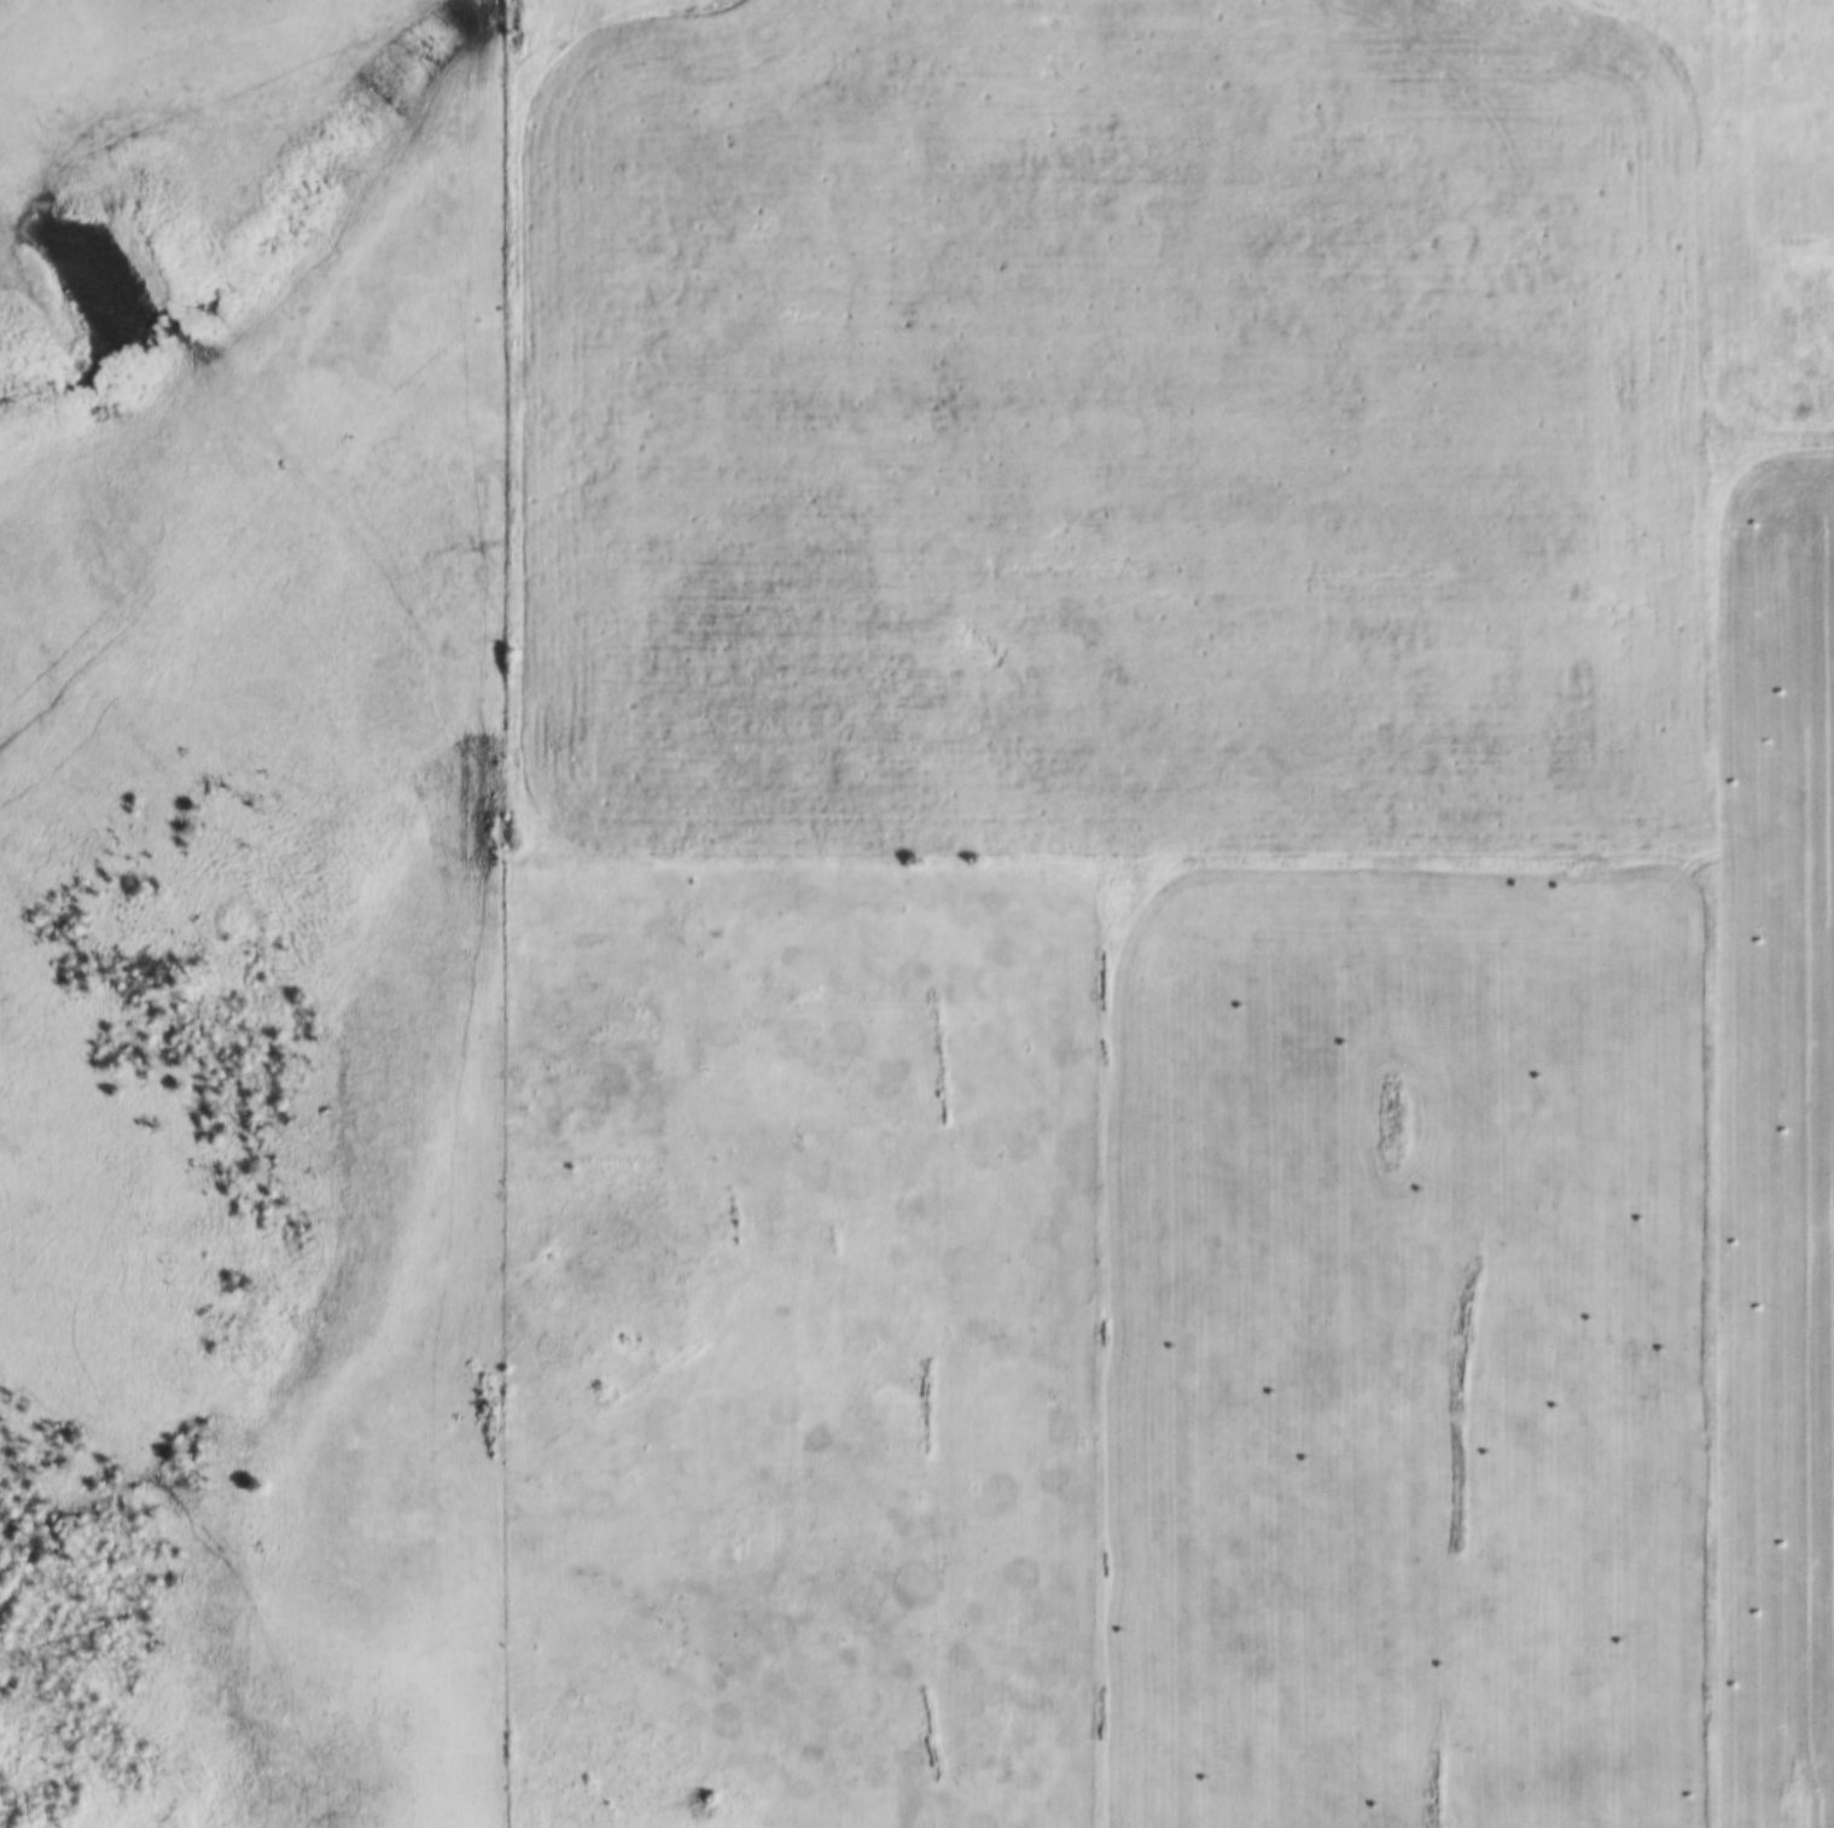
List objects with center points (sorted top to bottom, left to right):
building: (1518, 1015)

